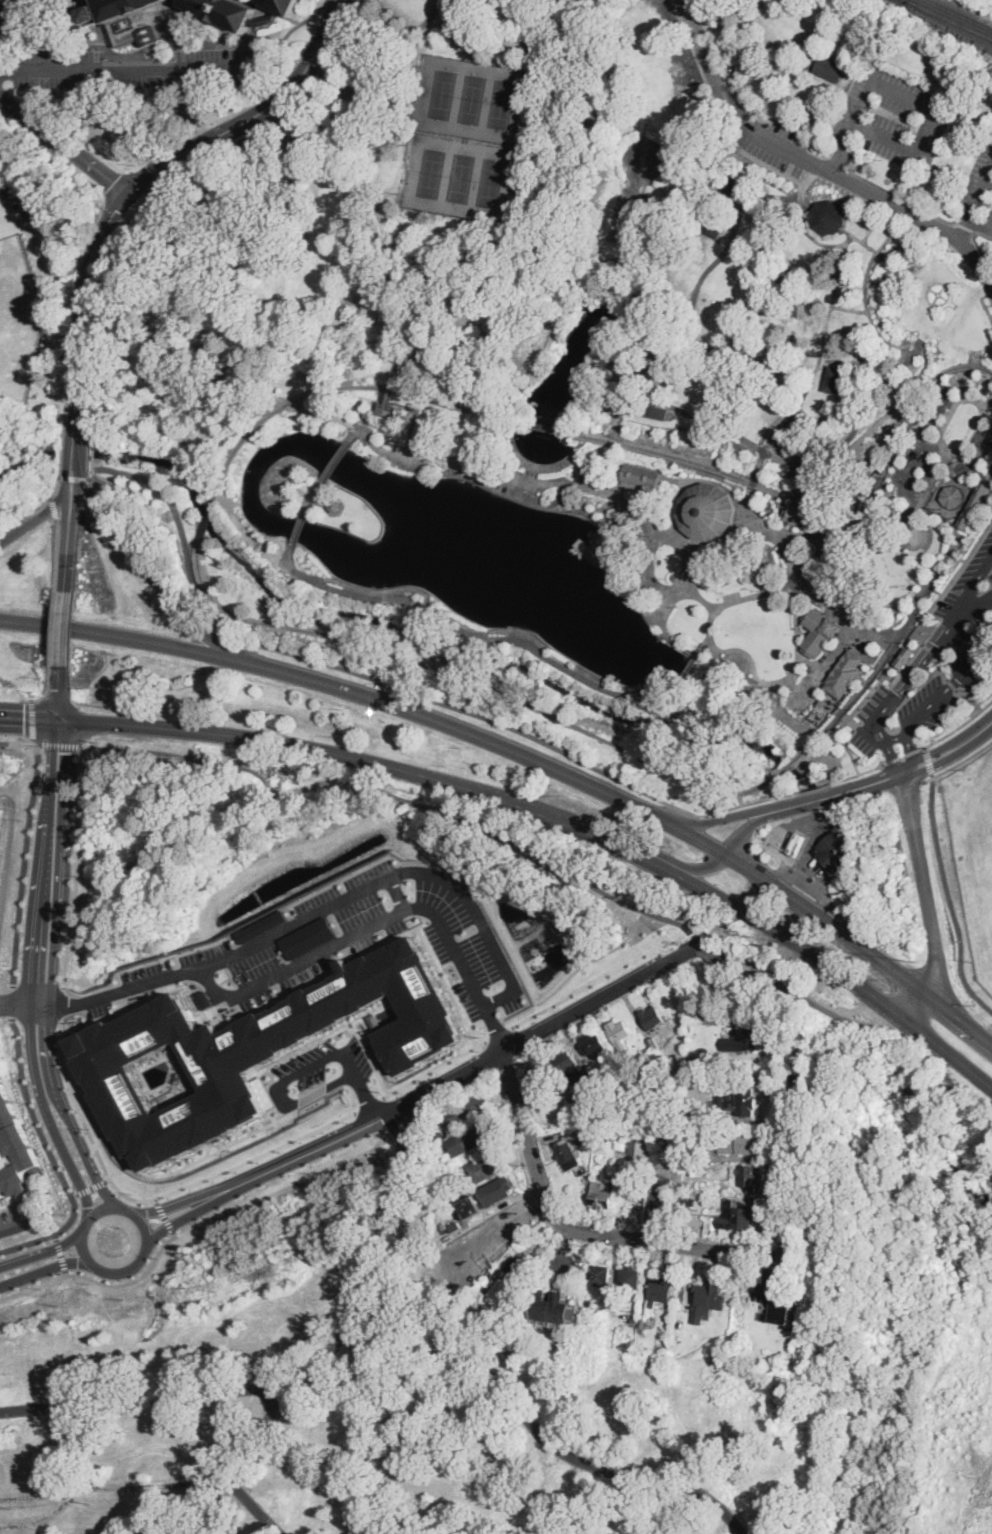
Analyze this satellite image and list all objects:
building: (283, 6)
road: (4, 9)
road: (261, 9)
building: (225, 11)
railway: (959, 14)
railway: (949, 18)
building: (266, 19)
building: (139, 20)
railway: (943, 25)
road: (43, 44)
road: (254, 45)
road: (124, 67)
road: (370, 67)
building: (830, 68)
parking lot: (135, 69)
road: (909, 97)
road: (716, 110)
parking lot: (893, 115)
road: (254, 117)
park: (464, 137)
road: (64, 145)
road: (214, 153)
road: (72, 164)
road: (813, 164)
traffic signals: (152, 173)
road: (989, 177)
road: (137, 180)
traffic signals: (112, 183)
building: (734, 190)
parking lot: (979, 193)
road: (900, 195)
road: (974, 201)
road: (807, 203)
traffic signals: (115, 209)
building: (827, 219)
road: (979, 223)
road: (965, 225)
road: (806, 227)
building: (715, 230)
road: (983, 234)
road: (855, 236)
road: (979, 249)
road: (889, 259)
road: (77, 297)
road: (846, 308)
road: (82, 311)
road: (830, 311)
road: (659, 336)
road: (923, 345)
park: (589, 376)
building: (835, 379)
road: (797, 407)
building: (651, 409)
road: (66, 412)
road: (851, 421)
road: (348, 423)
road: (355, 431)
building: (982, 436)
road: (773, 437)
railway: (606, 440)
building: (989, 441)
road: (766, 450)
road: (62, 454)
road: (73, 455)
road: (90, 456)
road: (335, 462)
road: (539, 466)
road: (582, 470)
road: (532, 473)
building: (640, 474)
building: (864, 476)
railway: (991, 476)
road: (935, 477)
road: (77, 478)
road: (71, 481)
road: (753, 483)
road: (157, 488)
road: (727, 489)
road: (312, 497)
building: (953, 497)
railway: (976, 503)
building: (335, 505)
road: (55, 508)
road: (38, 509)
road: (679, 511)
building: (708, 511)
building: (798, 515)
railway: (208, 517)
road: (36, 520)
road: (957, 524)
building: (621, 525)
road: (299, 526)
road: (786, 529)
road: (807, 530)
road: (904, 538)
road: (68, 540)
pier: (589, 545)
road: (681, 548)
road: (819, 551)
road: (58, 553)
road: (288, 556)
road: (149, 558)
theme park: (632, 573)
road: (158, 585)
road: (690, 585)
road: (975, 608)
road: (664, 622)
road: (55, 626)
road: (64, 627)
building: (819, 630)
road: (226, 634)
road: (131, 637)
road: (243, 641)
road: (925, 645)
road: (903, 647)
road: (546, 655)
building: (904, 656)
parking lot: (939, 661)
road: (324, 662)
road: (922, 665)
road: (943, 666)
road: (824, 667)
dam: (684, 669)
railway: (878, 670)
building: (845, 674)
road: (789, 675)
road: (931, 676)
railway: (470, 681)
road: (952, 684)
road: (48, 690)
road: (59, 691)
road: (414, 692)
traffic signals: (59, 697)
building: (656, 697)
road: (971, 697)
road: (932, 702)
traffic signals: (25, 717)
road: (29, 717)
road: (33, 719)
road: (960, 726)
road: (242, 735)
road: (897, 737)
road: (19, 742)
road: (61, 744)
road: (500, 745)
road: (950, 748)
traffic signals: (66, 752)
road: (568, 754)
road: (905, 754)
road: (182, 755)
road: (929, 759)
road: (957, 763)
railway: (789, 766)
road: (64, 771)
road: (319, 782)
road: (792, 793)
road: (837, 793)
road: (540, 813)
road: (705, 822)
road: (745, 831)
road: (810, 840)
building: (797, 843)
building: (838, 849)
gas station: (838, 849)
road: (545, 860)
road: (22, 861)
road: (78, 866)
road: (693, 868)
road: (924, 882)
road: (810, 887)
road: (400, 893)
road: (949, 897)
road: (317, 910)
road: (36, 921)
road: (379, 926)
road: (782, 931)
road: (862, 945)
road: (573, 992)
road: (13, 1002)
road: (913, 1002)
road: (64, 1003)
road: (49, 1006)
building: (653, 1019)
road: (859, 1022)
road: (557, 1024)
road: (499, 1031)
building: (619, 1033)
building: (748, 1038)
building: (652, 1044)
building: (593, 1046)
building: (255, 1048)
road: (947, 1049)
road: (320, 1060)
building: (565, 1062)
road: (436, 1068)
building: (680, 1072)
building: (695, 1079)
building: (542, 1083)
building: (641, 1087)
building: (591, 1090)
road: (309, 1096)
road: (366, 1096)
building: (737, 1100)
road: (371, 1104)
building: (479, 1104)
building: (625, 1107)
building: (453, 1117)
building: (697, 1117)
building: (673, 1121)
road: (88, 1127)
building: (607, 1138)
building: (469, 1139)
building: (735, 1143)
building: (15, 1146)
road: (312, 1151)
building: (638, 1152)
road: (258, 1155)
building: (570, 1157)
road: (54, 1158)
building: (444, 1168)
road: (75, 1169)
building: (483, 1169)
building: (694, 1170)
building: (751, 1177)
road: (110, 1178)
building: (715, 1182)
road: (93, 1187)
building: (496, 1191)
road: (107, 1193)
road: (75, 1195)
building: (602, 1196)
building: (685, 1197)
building: (633, 1201)
building: (662, 1201)
road: (169, 1207)
road: (123, 1209)
road: (165, 1215)
building: (736, 1217)
road: (178, 1220)
building: (441, 1221)
building: (513, 1221)
building: (713, 1222)
building: (454, 1226)
road: (56, 1235)
road: (82, 1235)
road: (66, 1243)
road: (144, 1249)
road: (563, 1249)
road: (60, 1253)
road: (759, 1254)
road: (24, 1258)
road: (44, 1268)
road: (65, 1272)
building: (599, 1275)
park: (901, 1275)
building: (630, 1278)
road: (99, 1281)
building: (660, 1290)
building: (506, 1292)
building: (709, 1295)
building: (779, 1308)
building: (552, 1311)
building: (634, 1319)
building: (642, 1326)
road: (336, 1344)
road: (152, 1396)
road: (543, 1435)
road: (249, 1502)

